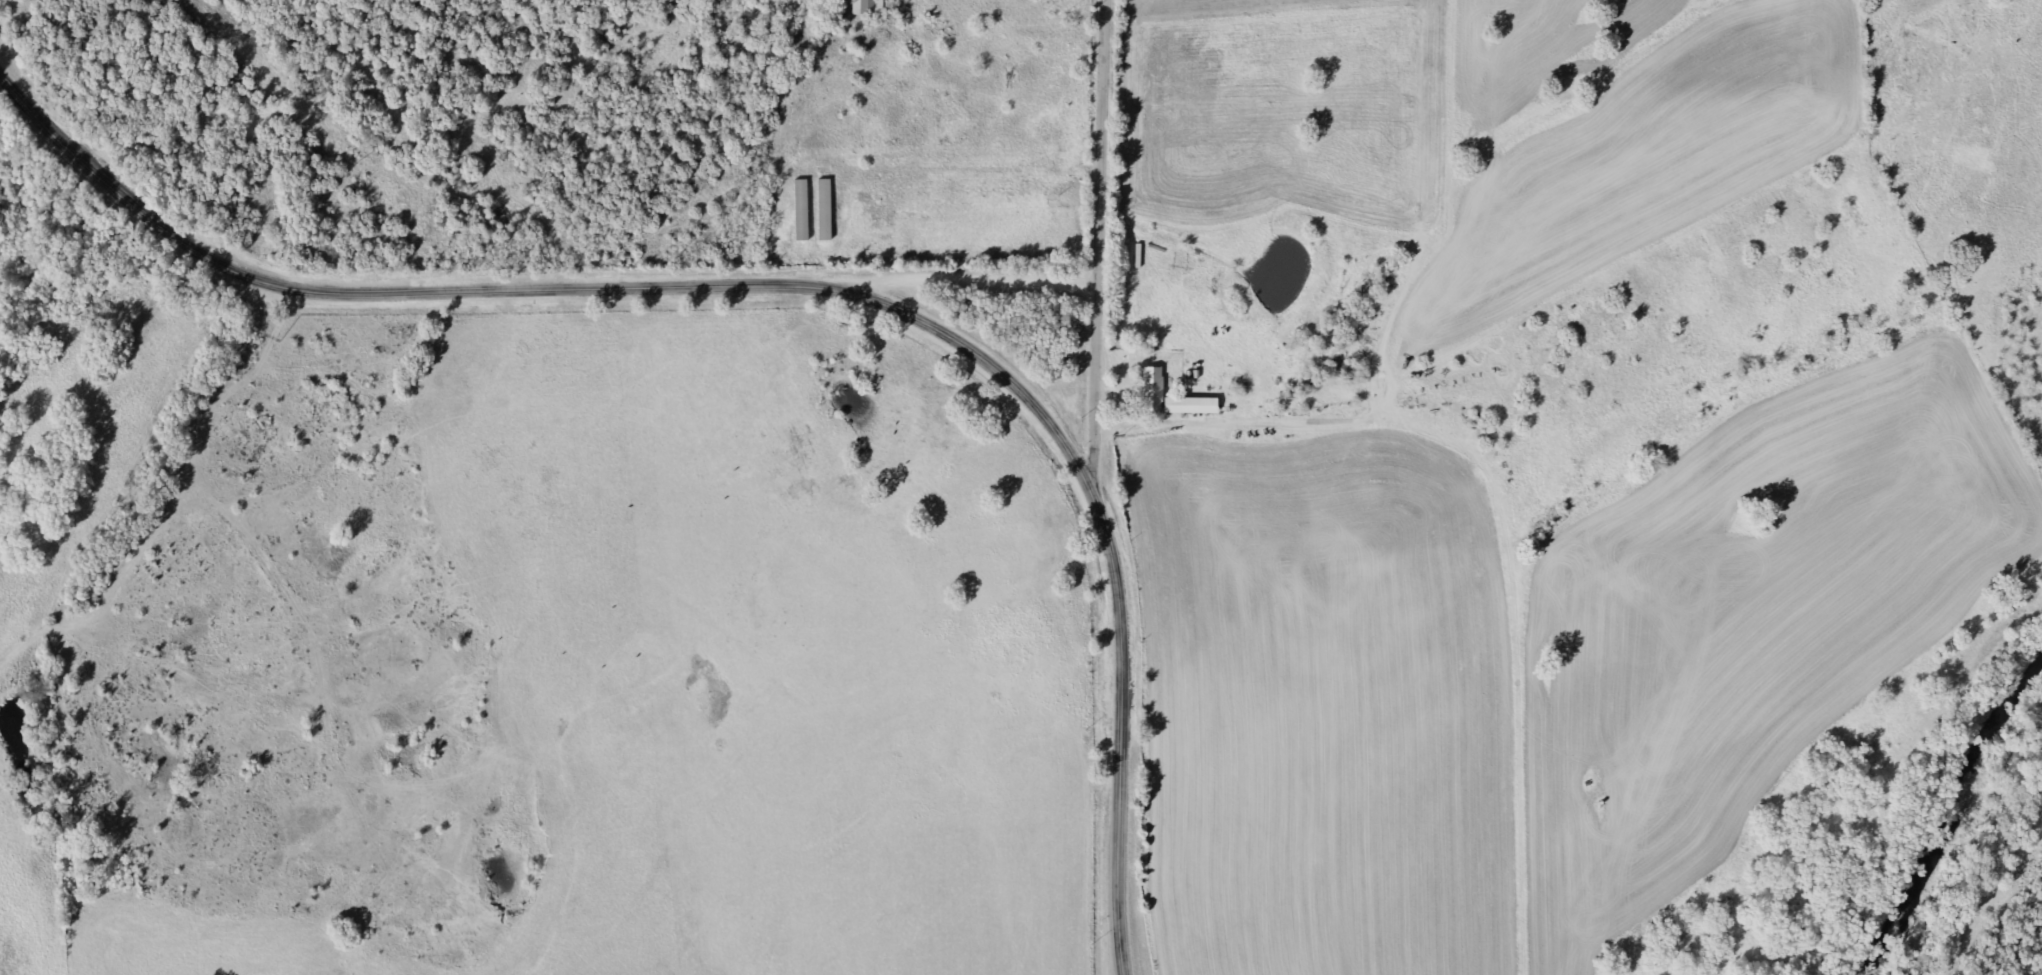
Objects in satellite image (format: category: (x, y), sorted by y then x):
building: (864, 7)
building: (798, 209)
building: (822, 209)
road: (1100, 249)
road: (970, 277)
road: (792, 285)
building: (1339, 369)
building: (1148, 382)
road: (1237, 424)

